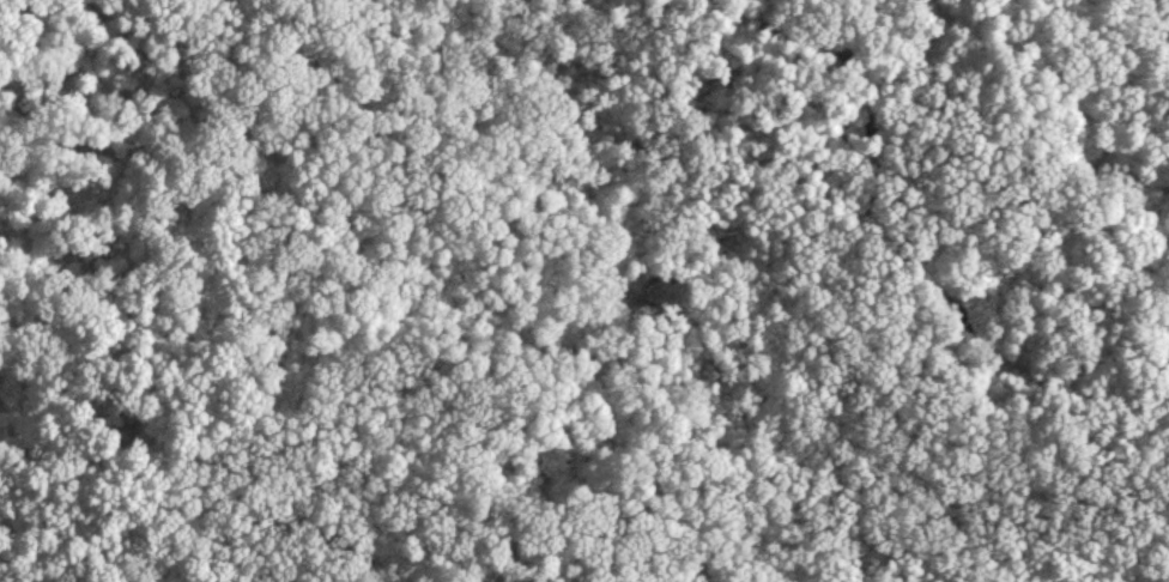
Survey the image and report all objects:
road: (870, 218)

